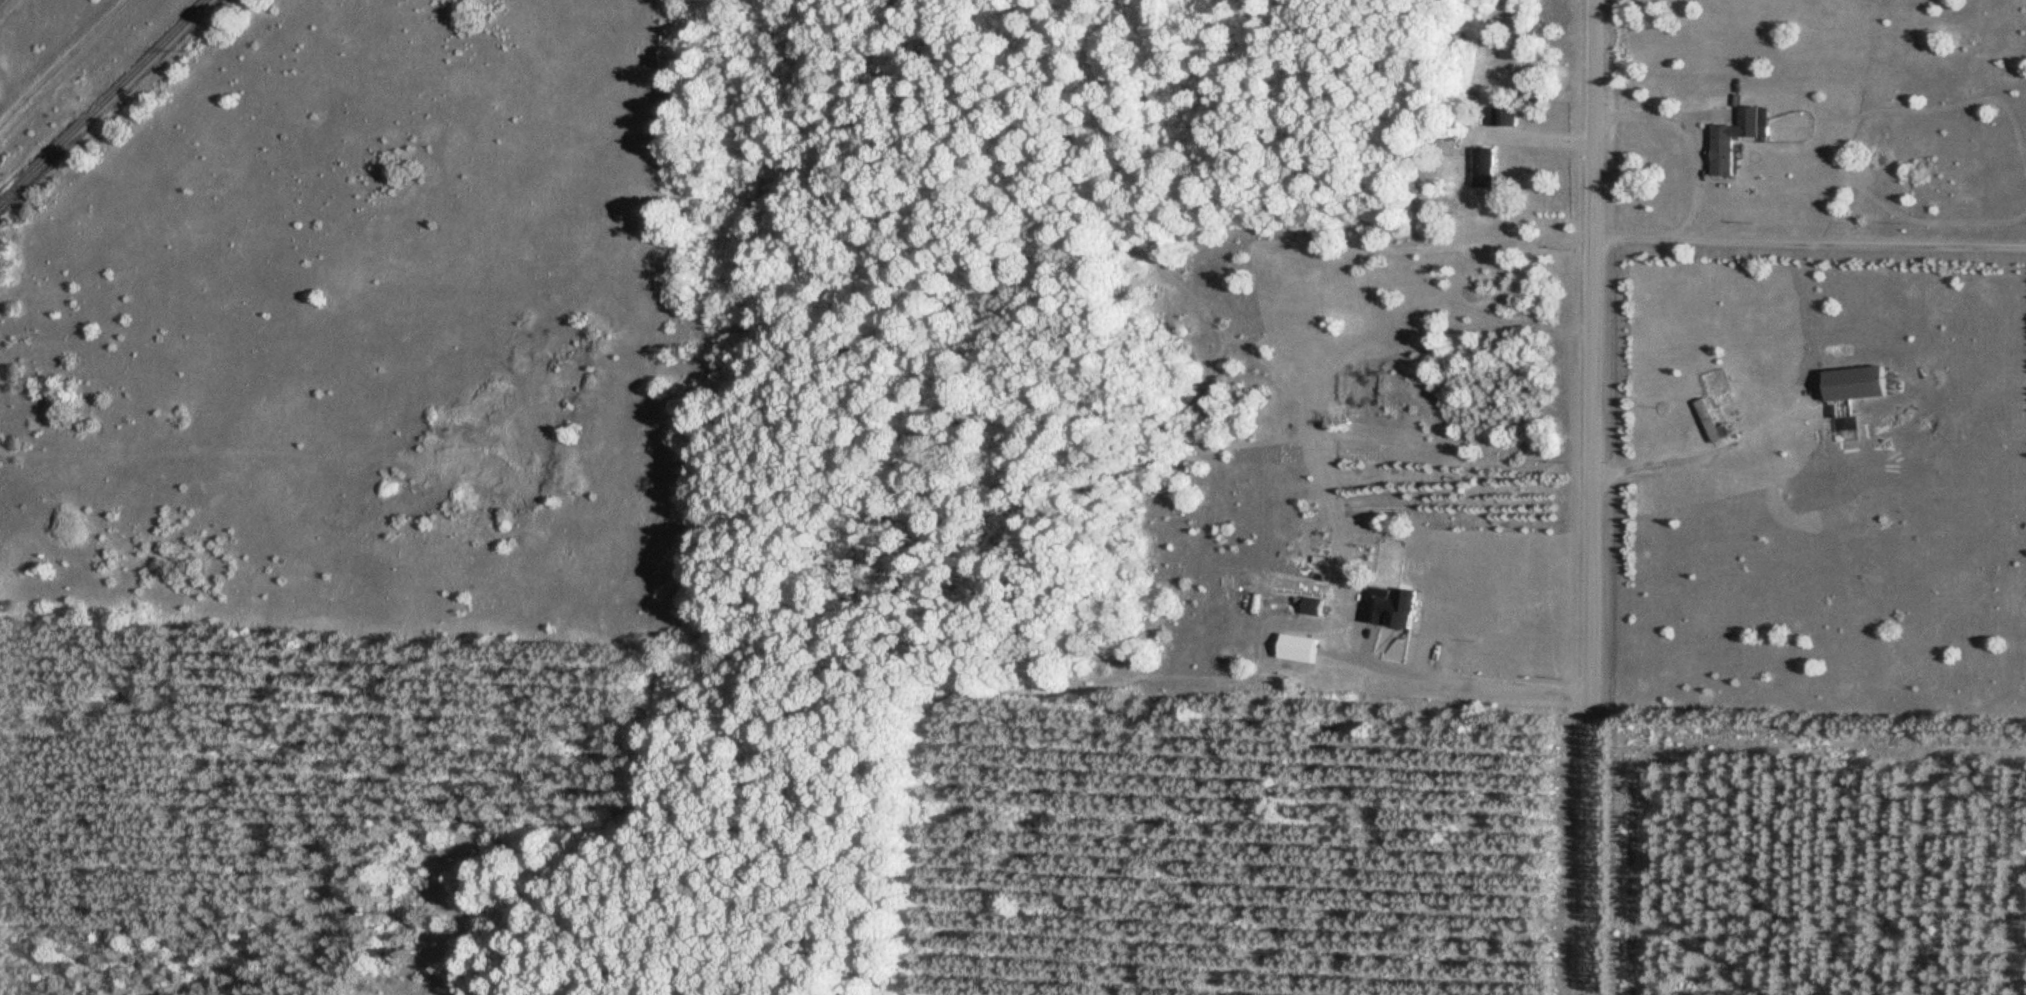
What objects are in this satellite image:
road: (61, 58)
railway: (103, 101)
road: (1664, 114)
building: (1499, 116)
road: (1540, 138)
building: (1718, 155)
building: (1481, 167)
road: (1810, 242)
building: (1851, 382)
building: (1709, 421)
road: (1664, 462)
road: (1593, 497)
building: (1309, 607)
building: (1387, 608)
road: (1421, 658)
road: (1470, 684)

